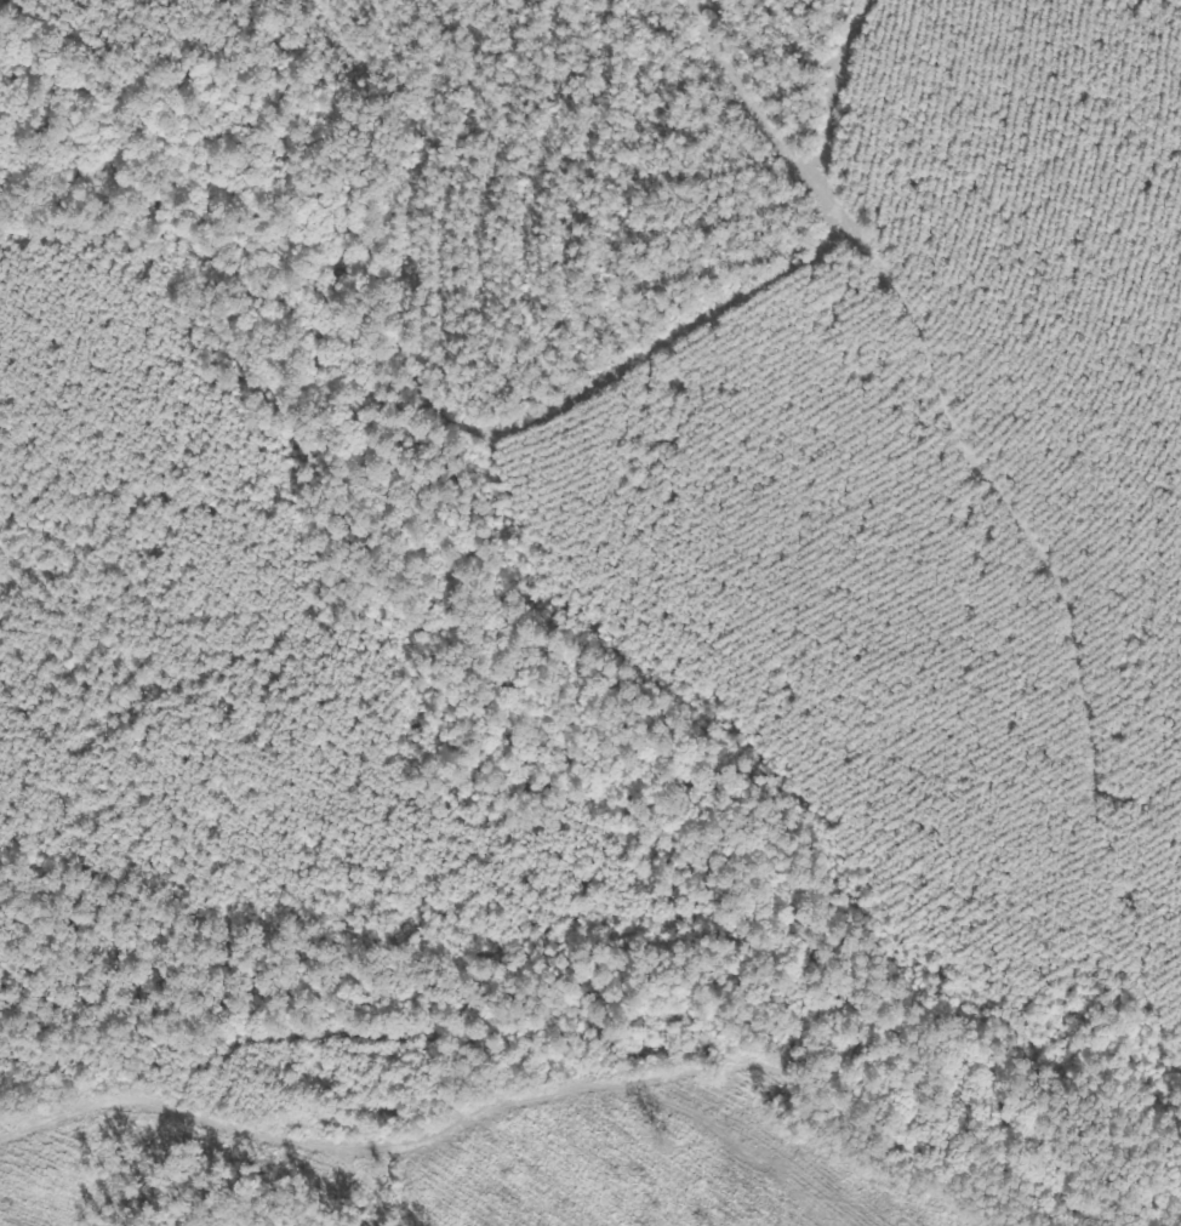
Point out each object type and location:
road: (995, 929)

